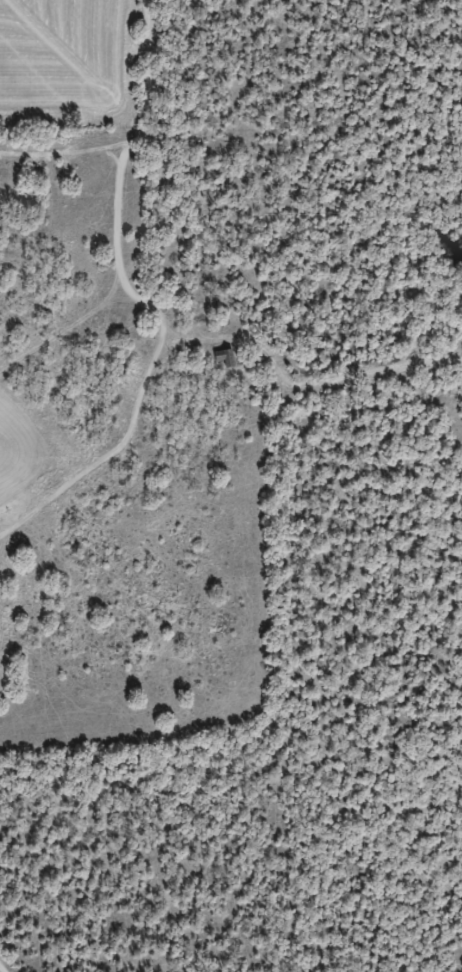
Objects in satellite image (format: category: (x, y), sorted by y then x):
building: (221, 358)
road: (129, 387)
road: (4, 967)

